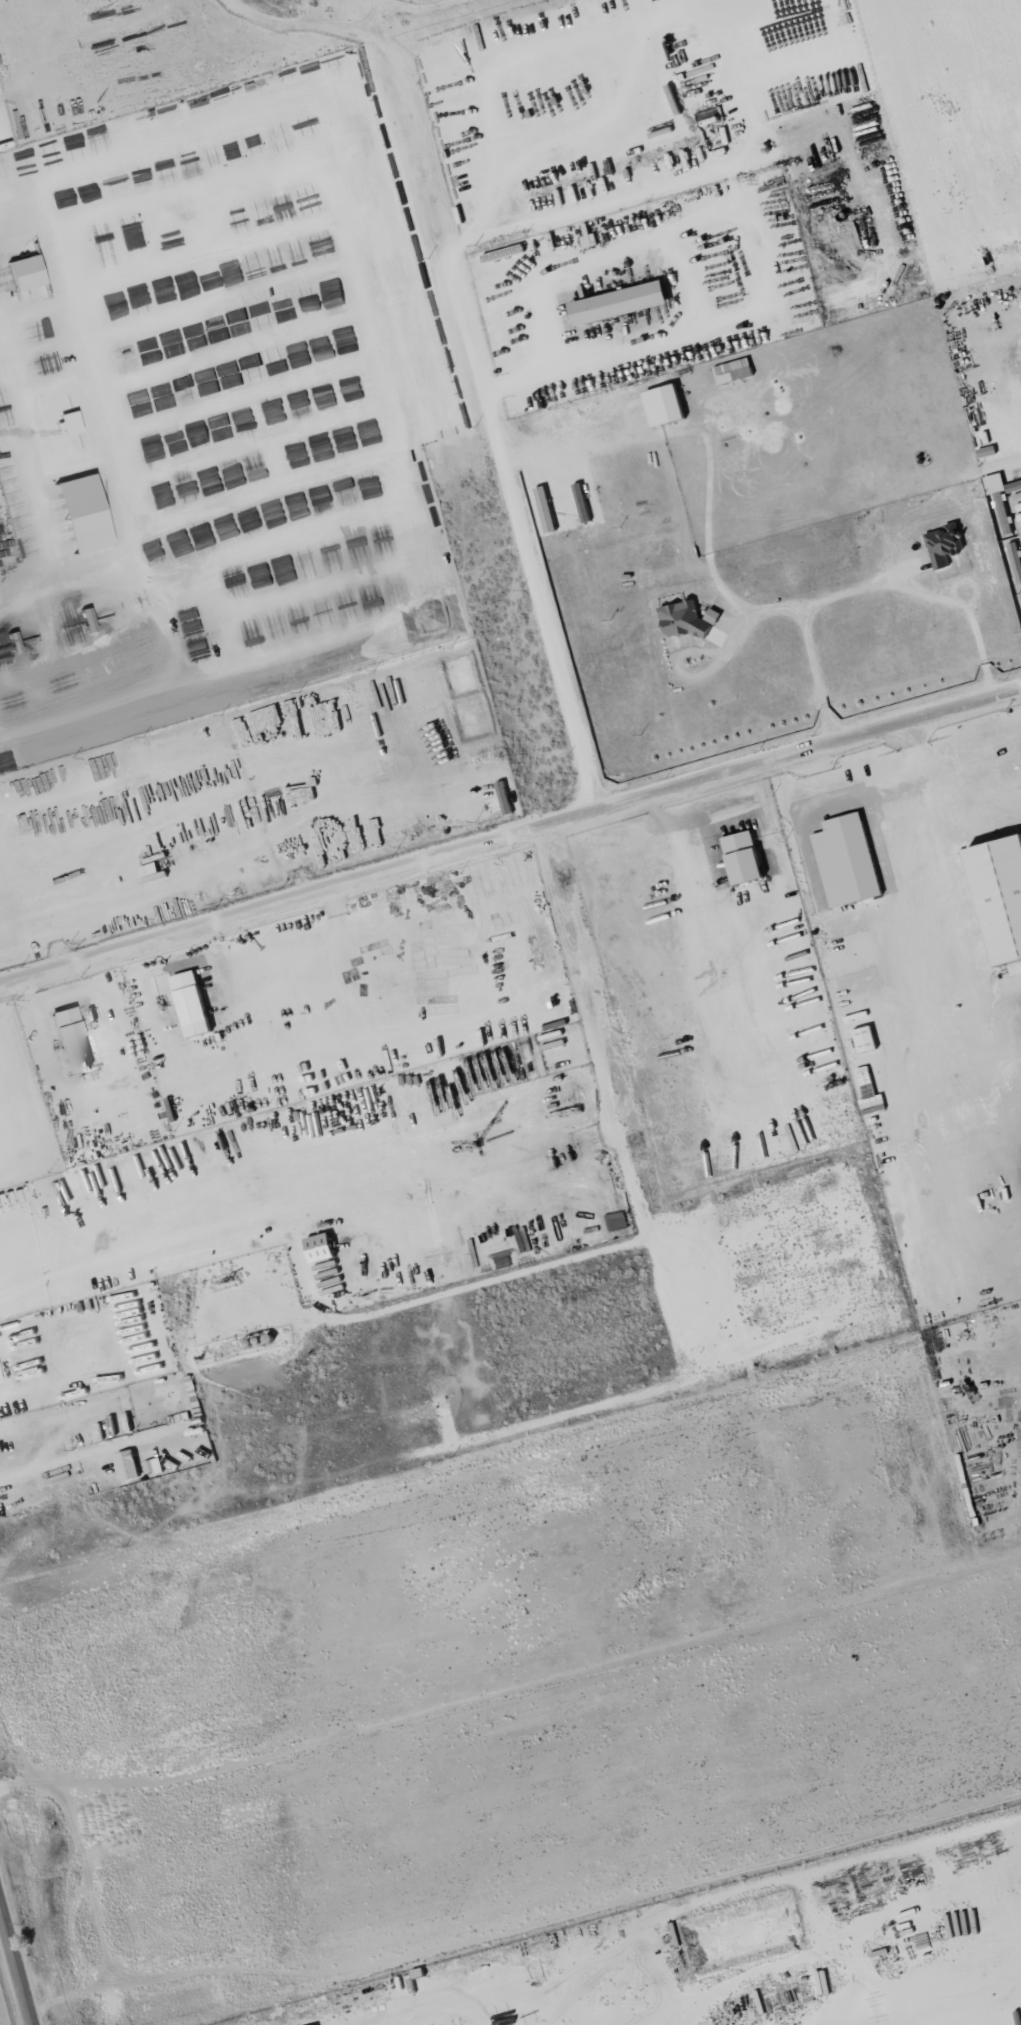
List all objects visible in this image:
building: (27, 273)
building: (623, 302)
road: (470, 346)
building: (735, 370)
building: (668, 404)
building: (997, 483)
building: (548, 509)
building: (86, 512)
building: (946, 546)
building: (1016, 552)
road: (865, 587)
building: (689, 619)
road: (510, 833)
building: (748, 857)
building: (850, 861)
building: (1005, 894)
building: (194, 1004)
building: (72, 1039)
building: (868, 1039)
building: (870, 1089)
building: (324, 1248)
building: (0, 1381)
road: (77, 1455)
building: (130, 1465)
building: (154, 1466)
road: (17, 1962)

